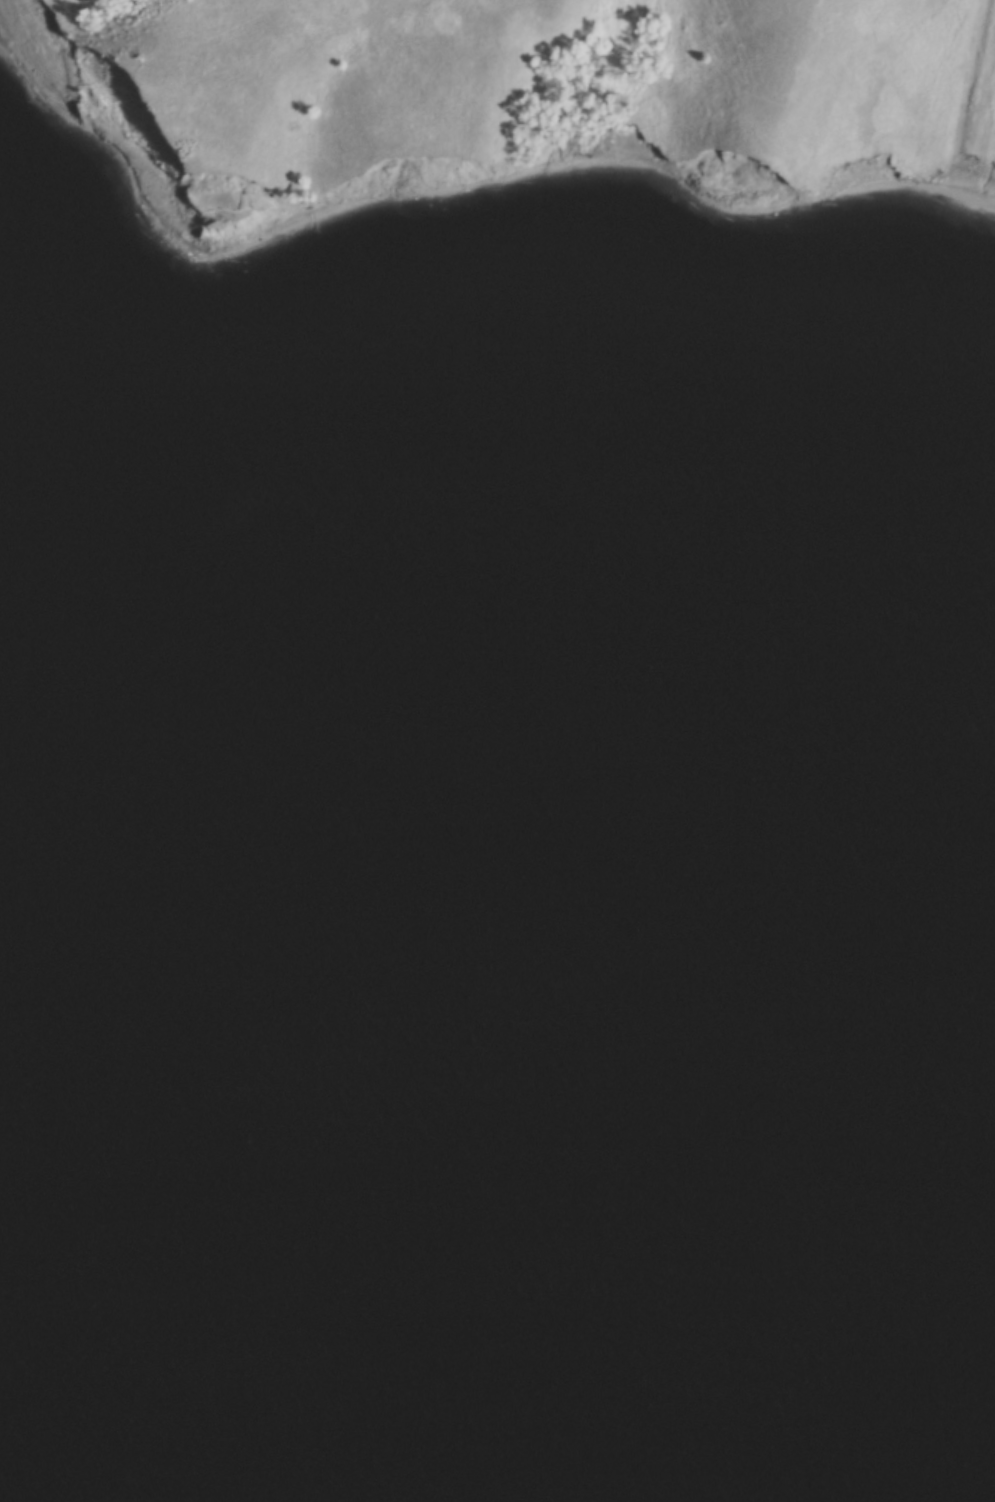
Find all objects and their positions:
road: (983, 159)

